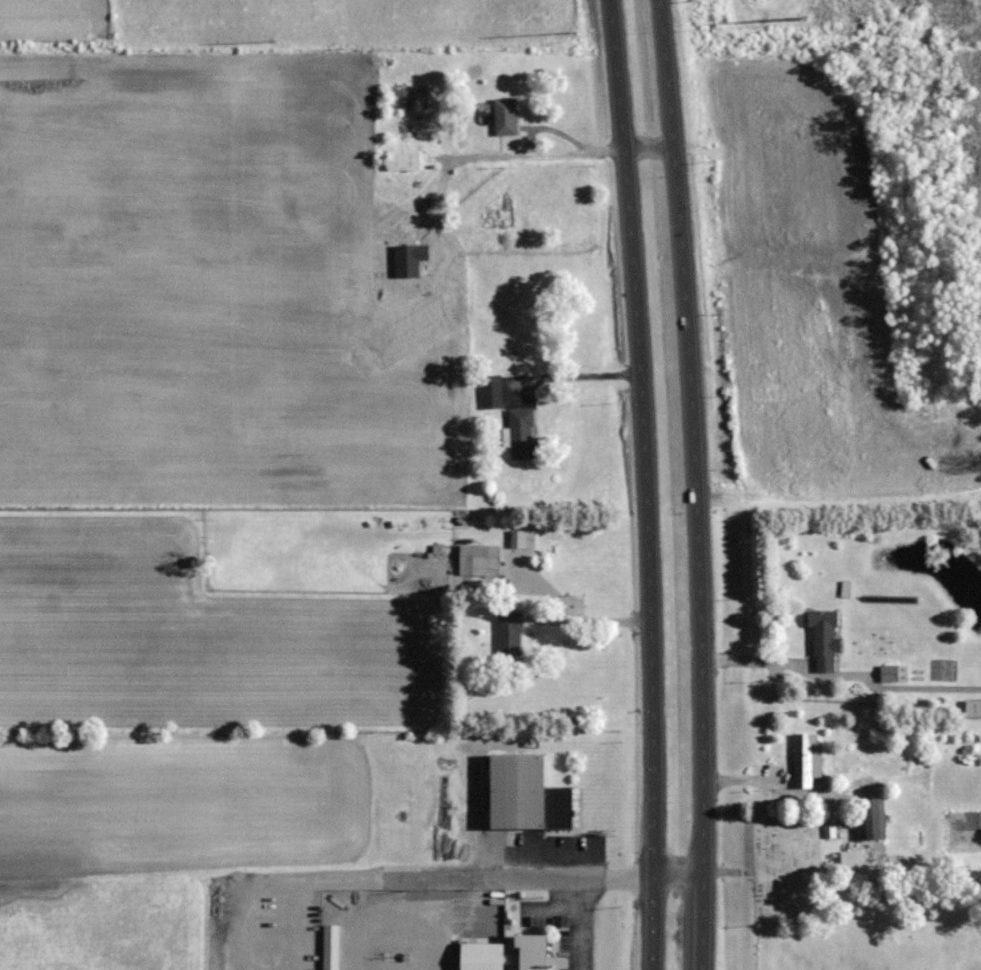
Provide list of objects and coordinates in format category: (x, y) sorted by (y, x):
building: (399, 97)
building: (504, 115)
road: (651, 148)
road: (533, 152)
building: (402, 159)
building: (497, 216)
road: (576, 373)
building: (490, 391)
building: (521, 433)
road: (647, 484)
road: (700, 484)
building: (521, 538)
building: (477, 558)
building: (508, 634)
building: (822, 638)
building: (892, 672)
road: (842, 676)
building: (972, 708)
building: (805, 757)
building: (525, 794)
building: (871, 811)
building: (850, 858)
building: (891, 861)
park: (785, 869)
road: (468, 878)
building: (329, 946)
building: (534, 952)
building: (480, 955)

